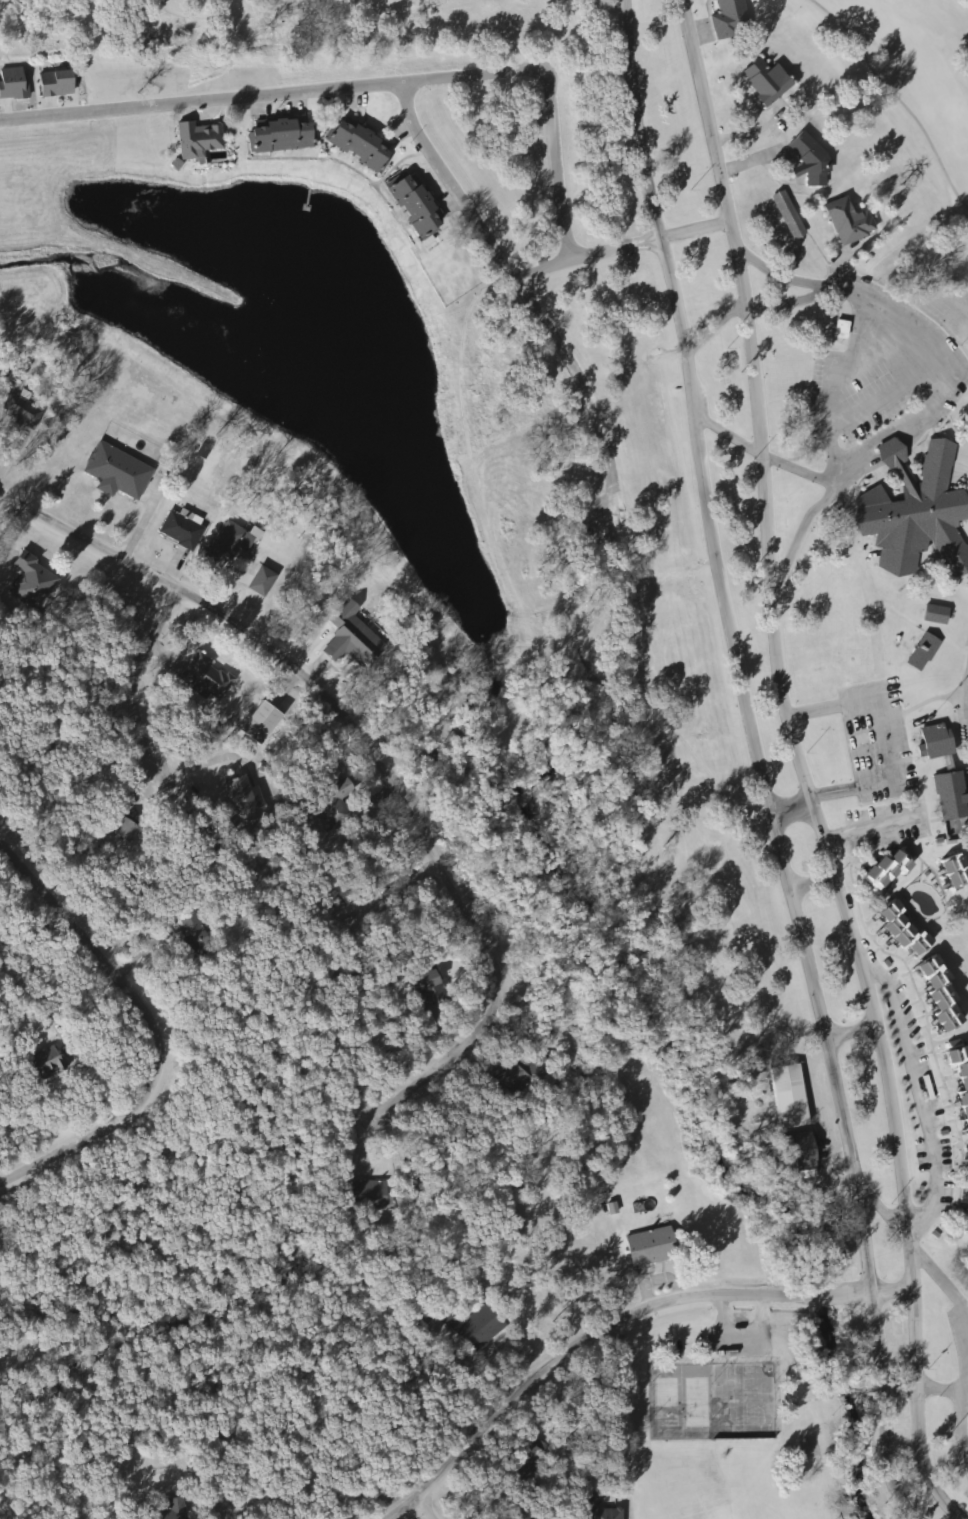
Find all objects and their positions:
building: (727, 19)
building: (764, 80)
building: (13, 83)
building: (54, 83)
road: (368, 86)
building: (279, 134)
building: (196, 140)
building: (358, 144)
building: (807, 160)
road: (454, 186)
building: (415, 206)
building: (787, 214)
building: (845, 221)
road: (696, 231)
road: (616, 252)
road: (546, 270)
building: (838, 329)
road: (714, 331)
road: (584, 395)
building: (19, 411)
building: (114, 472)
road: (826, 480)
building: (913, 513)
building: (178, 530)
road: (794, 543)
building: (225, 544)
building: (259, 580)
building: (31, 581)
building: (933, 614)
building: (348, 637)
building: (921, 652)
building: (202, 677)
road: (322, 684)
road: (144, 717)
building: (934, 743)
road: (871, 761)
road: (758, 765)
road: (801, 768)
building: (237, 796)
building: (948, 796)
road: (874, 821)
building: (119, 830)
building: (884, 868)
building: (950, 870)
road: (399, 883)
building: (896, 929)
building: (189, 936)
building: (427, 989)
building: (934, 993)
road: (157, 1026)
road: (859, 1031)
building: (43, 1064)
road: (438, 1067)
building: (506, 1080)
building: (957, 1085)
road: (935, 1093)
building: (785, 1096)
building: (798, 1151)
building: (964, 1171)
building: (367, 1195)
road: (890, 1213)
building: (961, 1219)
building: (647, 1246)
road: (939, 1269)
road: (895, 1290)
building: (474, 1326)
road: (601, 1333)
road: (903, 1386)
road: (965, 1418)
road: (436, 1506)
building: (164, 1510)
building: (604, 1513)

